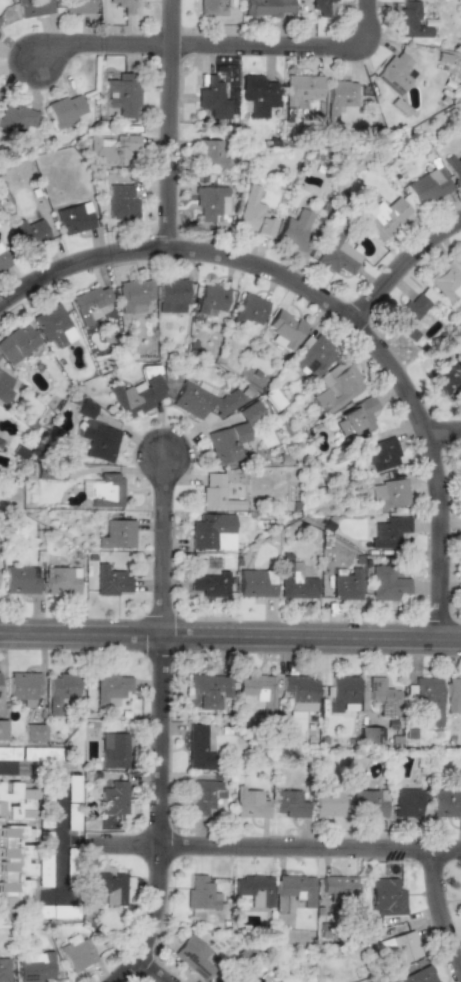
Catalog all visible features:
building: (123, 5)
building: (78, 6)
building: (321, 6)
building: (33, 7)
building: (209, 7)
building: (266, 7)
building: (0, 19)
building: (411, 21)
road: (365, 23)
road: (197, 45)
building: (394, 73)
building: (301, 89)
building: (258, 94)
building: (122, 95)
building: (339, 96)
building: (212, 98)
building: (65, 109)
building: (17, 119)
road: (167, 125)
building: (112, 149)
building: (212, 153)
building: (455, 167)
building: (427, 185)
building: (121, 202)
building: (211, 203)
building: (252, 213)
building: (385, 217)
building: (74, 218)
building: (294, 231)
building: (30, 233)
building: (335, 253)
building: (3, 260)
road: (398, 265)
building: (447, 279)
building: (134, 295)
building: (172, 296)
building: (211, 298)
building: (90, 303)
building: (249, 310)
building: (411, 312)
road: (334, 314)
building: (54, 326)
building: (284, 329)
building: (17, 343)
building: (314, 356)
building: (149, 371)
building: (445, 378)
building: (4, 386)
building: (334, 387)
building: (136, 395)
building: (203, 401)
building: (85, 408)
building: (251, 413)
building: (355, 418)
road: (439, 430)
building: (99, 441)
building: (226, 442)
building: (381, 454)
building: (103, 490)
building: (217, 494)
building: (389, 494)
building: (212, 531)
building: (389, 531)
building: (117, 534)
building: (21, 579)
building: (62, 580)
building: (111, 581)
building: (296, 582)
building: (256, 583)
building: (211, 584)
building: (387, 584)
building: (346, 585)
road: (230, 637)
building: (23, 686)
building: (110, 688)
building: (258, 688)
building: (206, 690)
building: (59, 691)
building: (343, 693)
building: (299, 694)
building: (452, 694)
building: (383, 695)
building: (426, 698)
road: (164, 725)
building: (2, 729)
building: (33, 732)
building: (371, 735)
building: (198, 749)
building: (113, 750)
building: (203, 795)
building: (113, 798)
building: (15, 801)
road: (56, 802)
building: (405, 802)
building: (250, 803)
building: (290, 803)
building: (327, 803)
building: (369, 803)
building: (445, 803)
road: (274, 848)
building: (14, 861)
building: (338, 886)
building: (107, 887)
building: (296, 888)
building: (254, 889)
building: (201, 894)
building: (386, 896)
road: (437, 918)
building: (400, 947)
building: (75, 952)
building: (193, 956)
building: (35, 967)
building: (3, 969)
road: (148, 970)
building: (420, 975)

